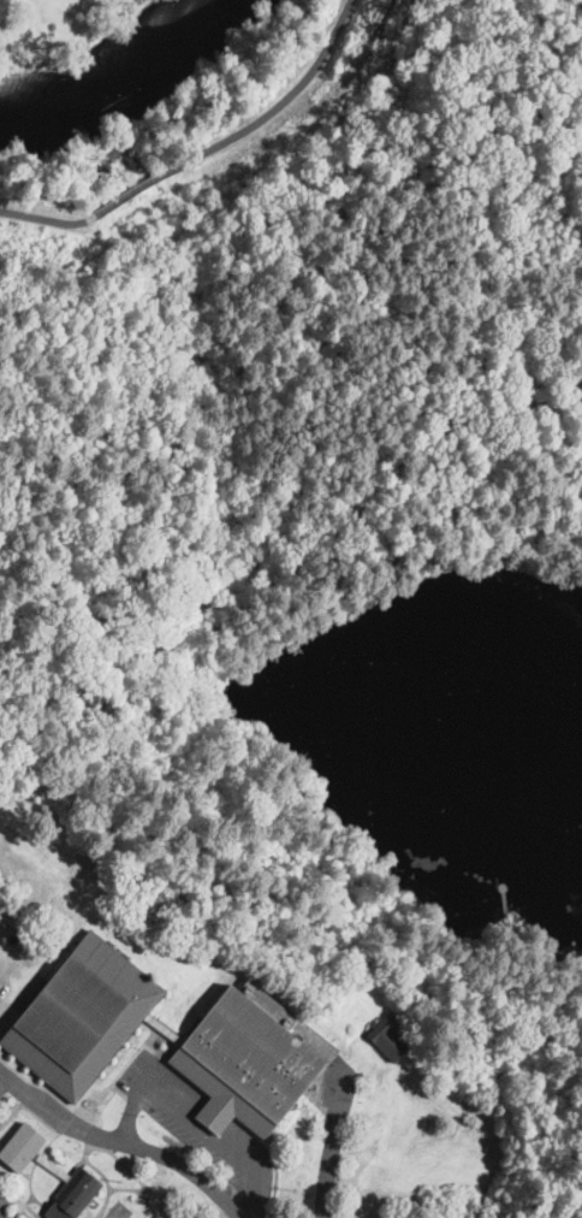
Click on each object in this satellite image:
river: (118, 70)
road: (275, 105)
road: (148, 184)
park: (232, 209)
road: (65, 213)
building: (67, 788)
building: (144, 885)
building: (66, 1036)
building: (386, 1040)
road: (196, 1124)
road: (121, 1145)
road: (332, 1158)
building: (55, 1170)
building: (112, 1216)

